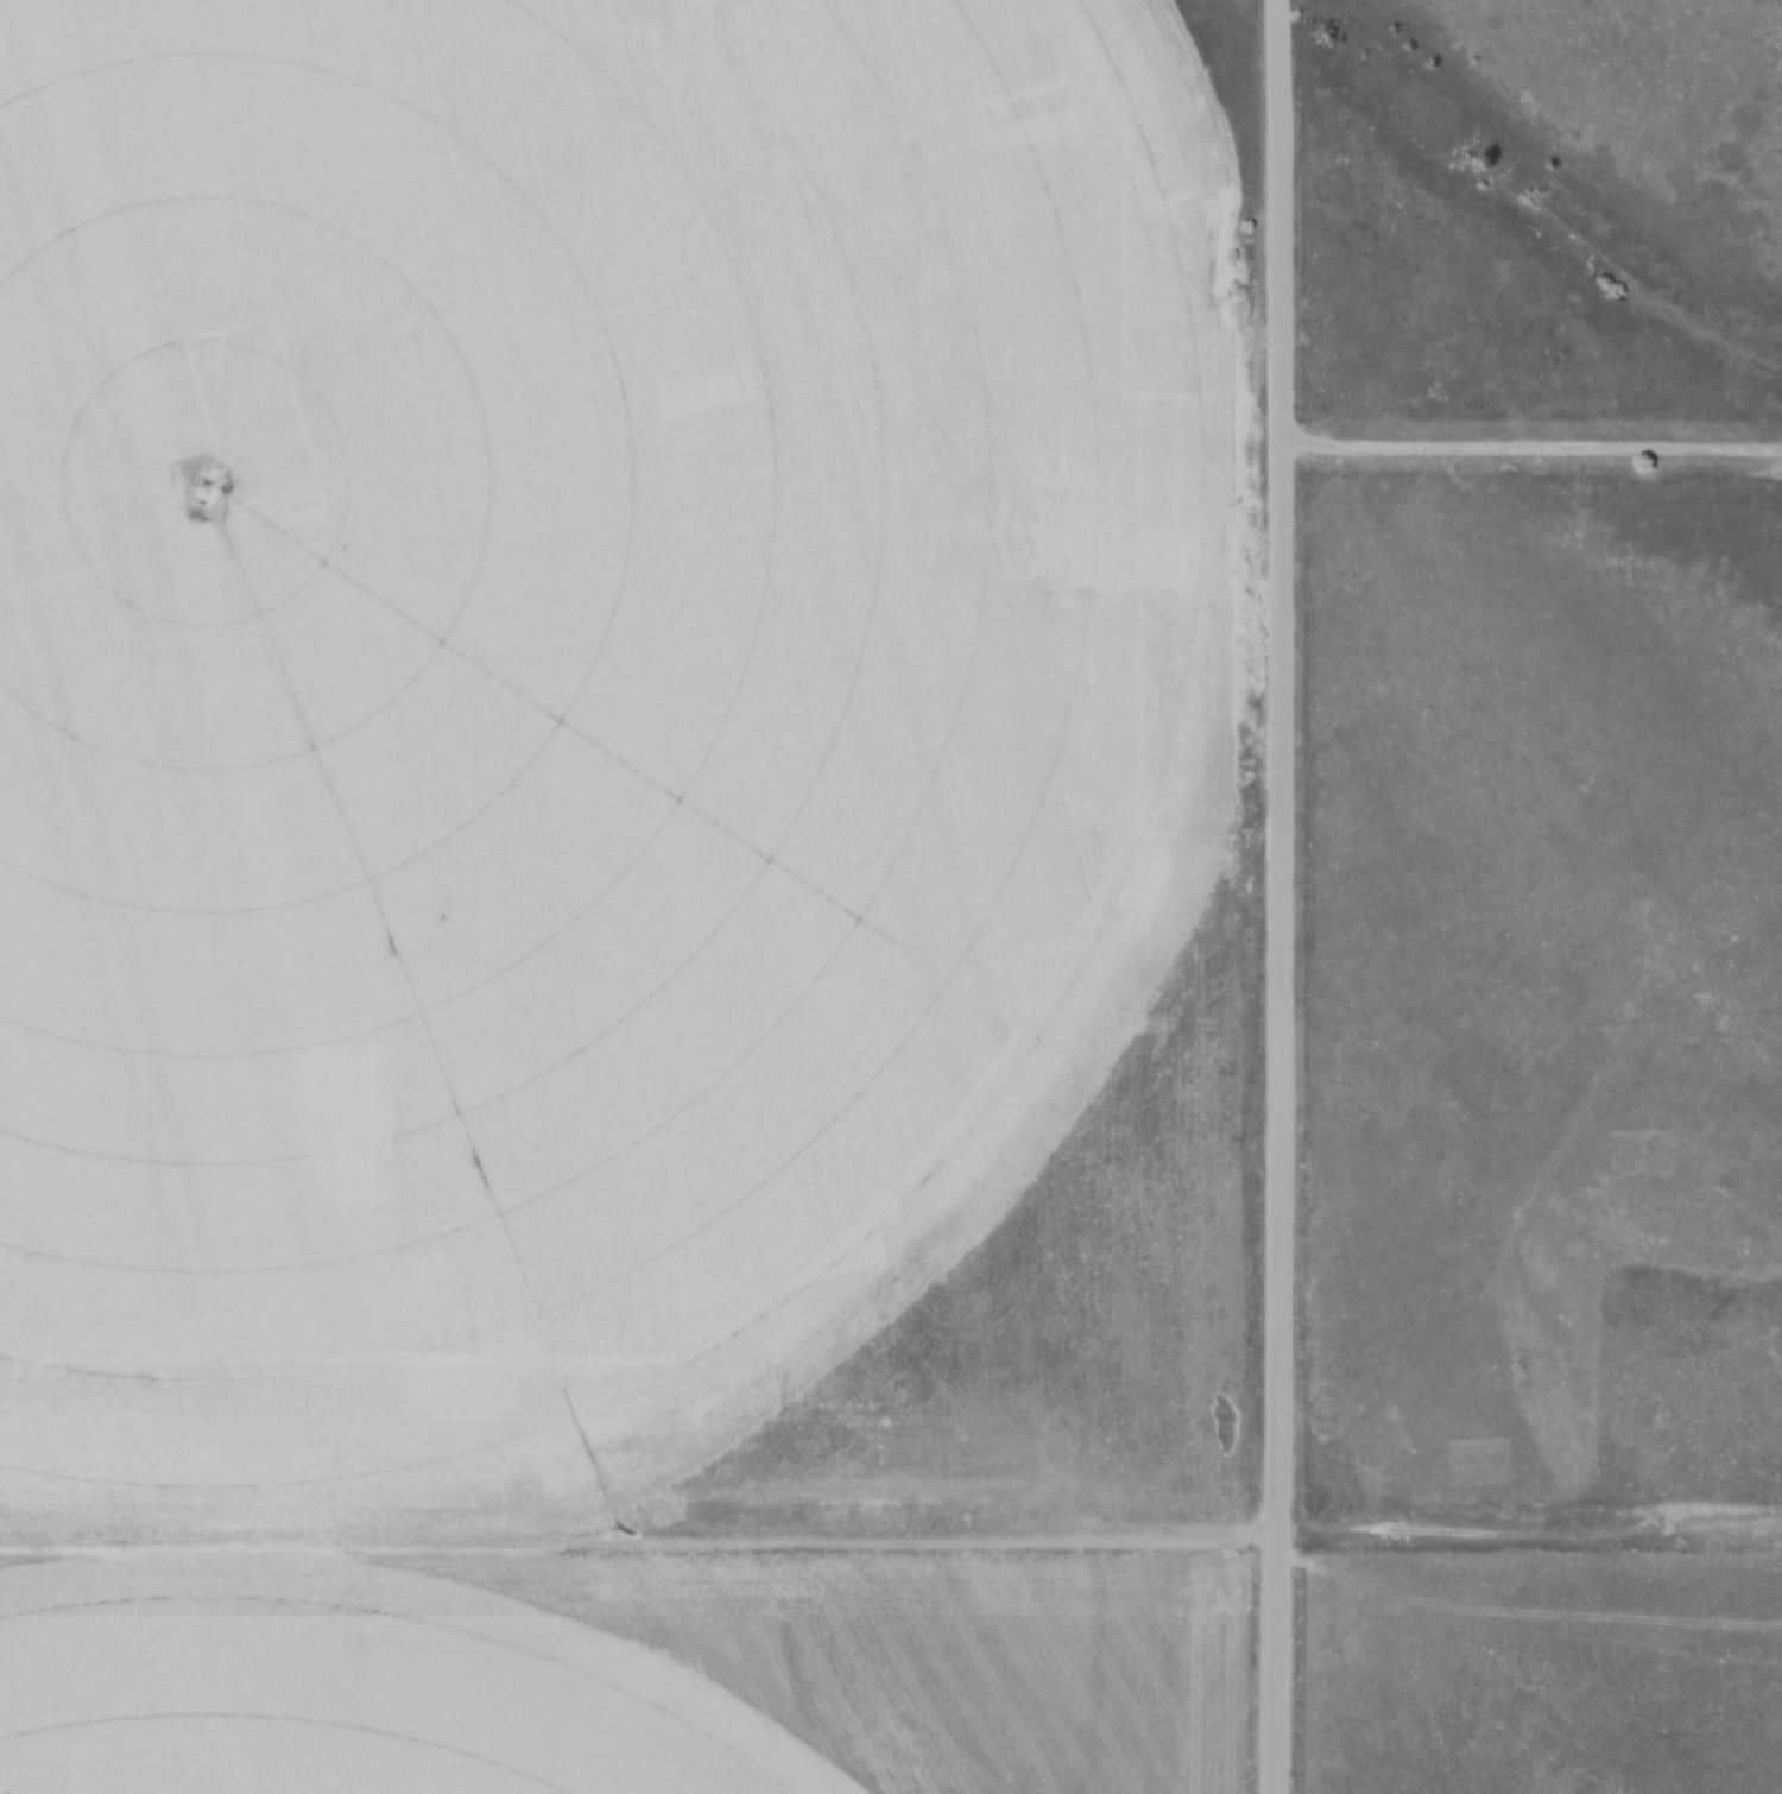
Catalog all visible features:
road: (1530, 448)
road: (1278, 897)

